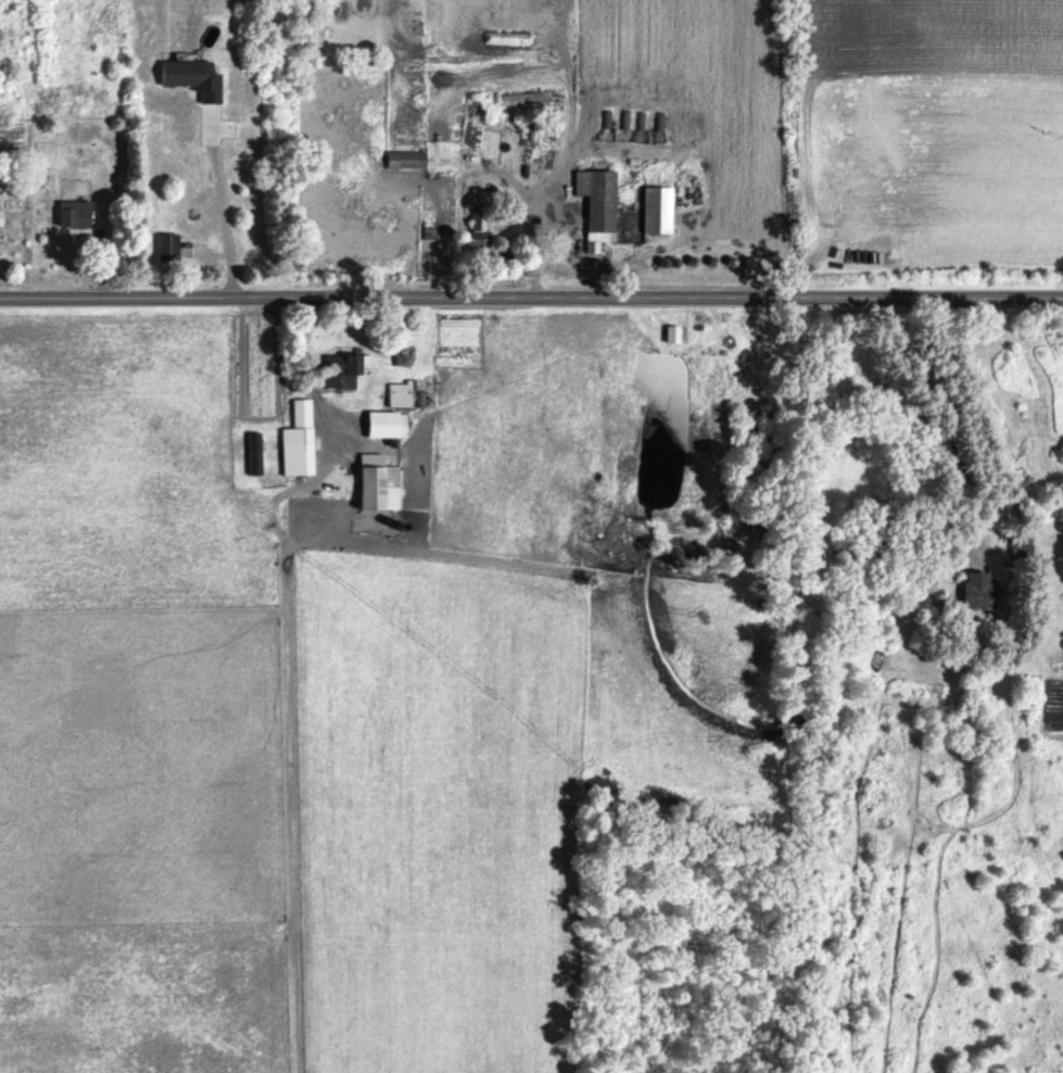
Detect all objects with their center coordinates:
building: (192, 78)
building: (528, 99)
building: (599, 206)
building: (660, 212)
building: (77, 215)
building: (2, 223)
building: (169, 248)
road: (531, 295)
building: (672, 336)
building: (355, 370)
building: (402, 396)
building: (390, 427)
building: (298, 443)
building: (380, 483)
building: (1022, 544)
building: (983, 592)

